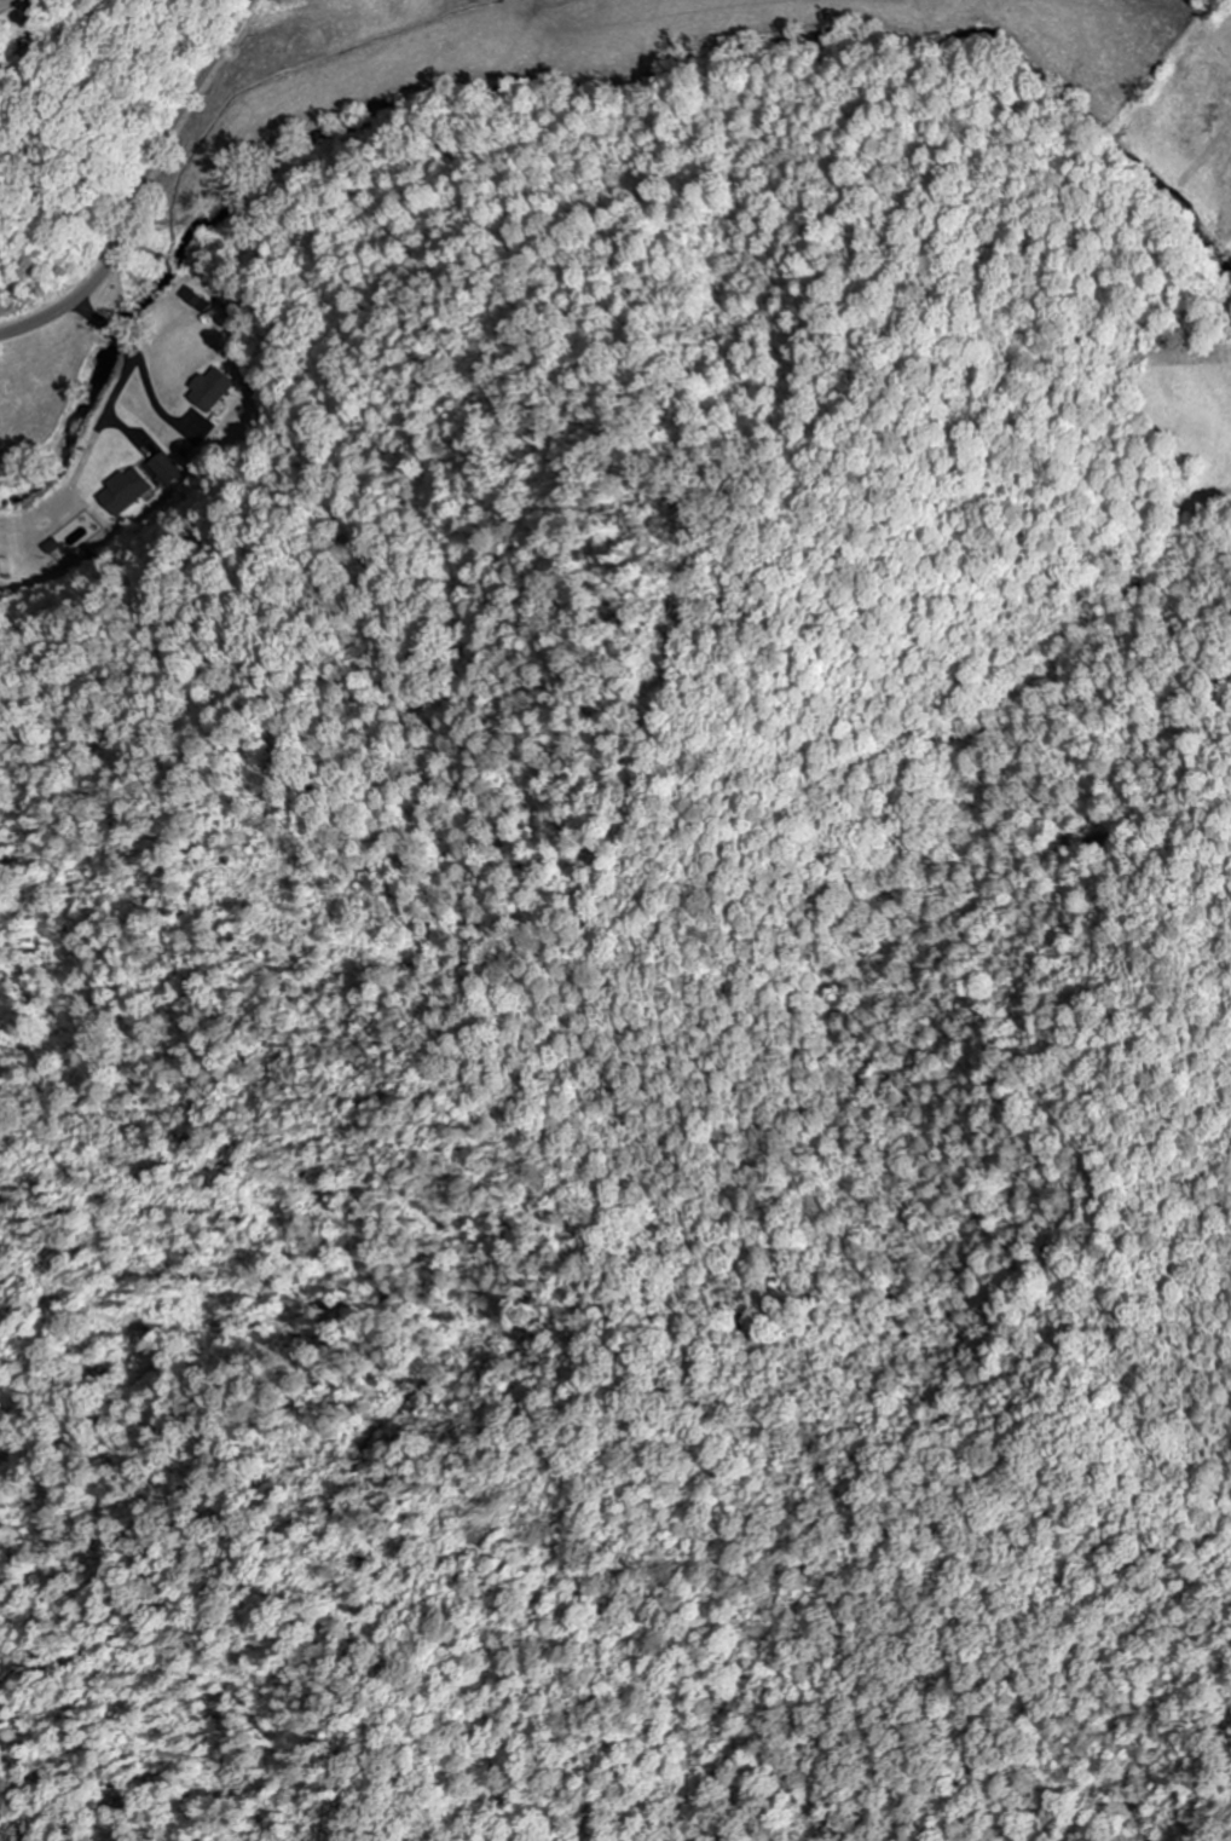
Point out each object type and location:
road: (144, 189)
building: (212, 388)
building: (161, 469)
building: (121, 491)

